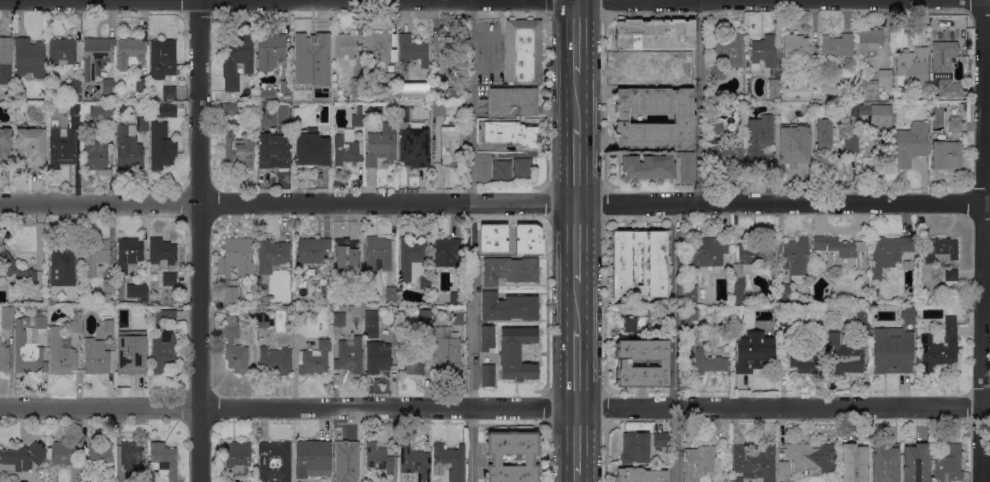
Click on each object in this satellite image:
road: (593, 0)
building: (935, 31)
building: (948, 31)
building: (655, 34)
road: (579, 36)
building: (870, 39)
building: (838, 45)
building: (311, 46)
building: (378, 46)
building: (797, 46)
building: (347, 48)
building: (730, 48)
building: (413, 49)
building: (270, 50)
building: (524, 50)
building: (63, 51)
building: (130, 51)
building: (763, 51)
building: (96, 56)
building: (29, 57)
building: (163, 57)
building: (446, 57)
building: (235, 59)
building: (5, 60)
building: (647, 64)
building: (913, 65)
building: (944, 69)
building: (715, 70)
building: (687, 72)
building: (886, 78)
building: (19, 81)
building: (813, 82)
building: (142, 83)
building: (775, 84)
building: (872, 84)
building: (75, 86)
building: (286, 86)
building: (387, 86)
building: (109, 88)
building: (357, 88)
building: (319, 90)
building: (414, 90)
building: (169, 92)
building: (267, 93)
building: (369, 94)
building: (439, 94)
building: (453, 94)
road: (580, 99)
building: (513, 100)
road: (701, 101)
building: (229, 107)
building: (75, 108)
building: (438, 108)
building: (98, 110)
building: (167, 110)
building: (262, 113)
building: (877, 115)
building: (357, 117)
building: (684, 118)
building: (954, 124)
building: (110, 127)
building: (717, 128)
building: (510, 132)
building: (824, 132)
building: (758, 138)
building: (851, 142)
building: (5, 143)
building: (793, 143)
building: (130, 144)
building: (381, 144)
building: (910, 144)
building: (239, 145)
building: (450, 145)
building: (62, 146)
building: (161, 146)
building: (31, 147)
building: (311, 147)
building: (415, 147)
building: (273, 150)
building: (345, 150)
building: (97, 153)
building: (729, 154)
building: (946, 154)
road: (580, 163)
building: (822, 164)
building: (648, 166)
building: (687, 166)
building: (484, 167)
building: (523, 169)
building: (502, 171)
road: (495, 201)
building: (490, 237)
building: (526, 238)
building: (505, 239)
road: (199, 240)
road: (471, 240)
road: (580, 241)
road: (985, 241)
building: (346, 246)
building: (940, 248)
building: (312, 249)
building: (412, 249)
building: (840, 250)
building: (446, 251)
building: (97, 252)
building: (162, 252)
building: (378, 252)
building: (706, 252)
building: (888, 252)
building: (129, 253)
building: (272, 254)
building: (236, 256)
building: (796, 258)
building: (65, 260)
building: (624, 263)
building: (13, 265)
building: (314, 267)
building: (509, 269)
building: (746, 269)
building: (170, 278)
building: (951, 278)
building: (109, 284)
building: (326, 288)
building: (137, 290)
building: (785, 292)
building: (391, 293)
building: (691, 293)
building: (231, 294)
building: (435, 298)
building: (456, 298)
building: (78, 299)
road: (579, 305)
building: (508, 307)
building: (107, 311)
building: (691, 313)
building: (907, 314)
building: (425, 315)
building: (456, 315)
building: (165, 316)
building: (7, 317)
building: (338, 318)
building: (264, 320)
building: (785, 320)
building: (76, 322)
building: (634, 322)
building: (686, 324)
building: (772, 324)
building: (109, 325)
building: (142, 326)
building: (864, 327)
building: (488, 338)
building: (690, 339)
road: (676, 341)
building: (29, 345)
building: (375, 345)
building: (235, 346)
building: (940, 346)
building: (164, 350)
building: (447, 350)
building: (720, 350)
building: (61, 352)
building: (517, 353)
building: (414, 354)
building: (890, 355)
building: (350, 356)
building: (750, 356)
building: (4, 357)
building: (316, 357)
building: (96, 358)
building: (844, 359)
building: (129, 360)
building: (276, 360)
building: (805, 360)
building: (708, 361)
building: (642, 362)
road: (578, 368)
building: (487, 374)
road: (288, 407)
road: (783, 407)
building: (661, 439)
road: (578, 440)
building: (635, 448)
building: (63, 452)
building: (130, 456)
building: (238, 456)
building: (345, 456)
building: (512, 456)
building: (811, 456)
building: (22, 457)
building: (101, 457)
building: (313, 458)
building: (378, 458)
building: (163, 459)
building: (451, 460)
building: (275, 461)
building: (698, 461)
building: (752, 463)
building: (854, 463)
building: (885, 463)
building: (916, 463)
building: (414, 464)
building: (948, 464)
building: (783, 469)
building: (640, 475)
road: (578, 478)
building: (358, 480)
building: (88, 481)

